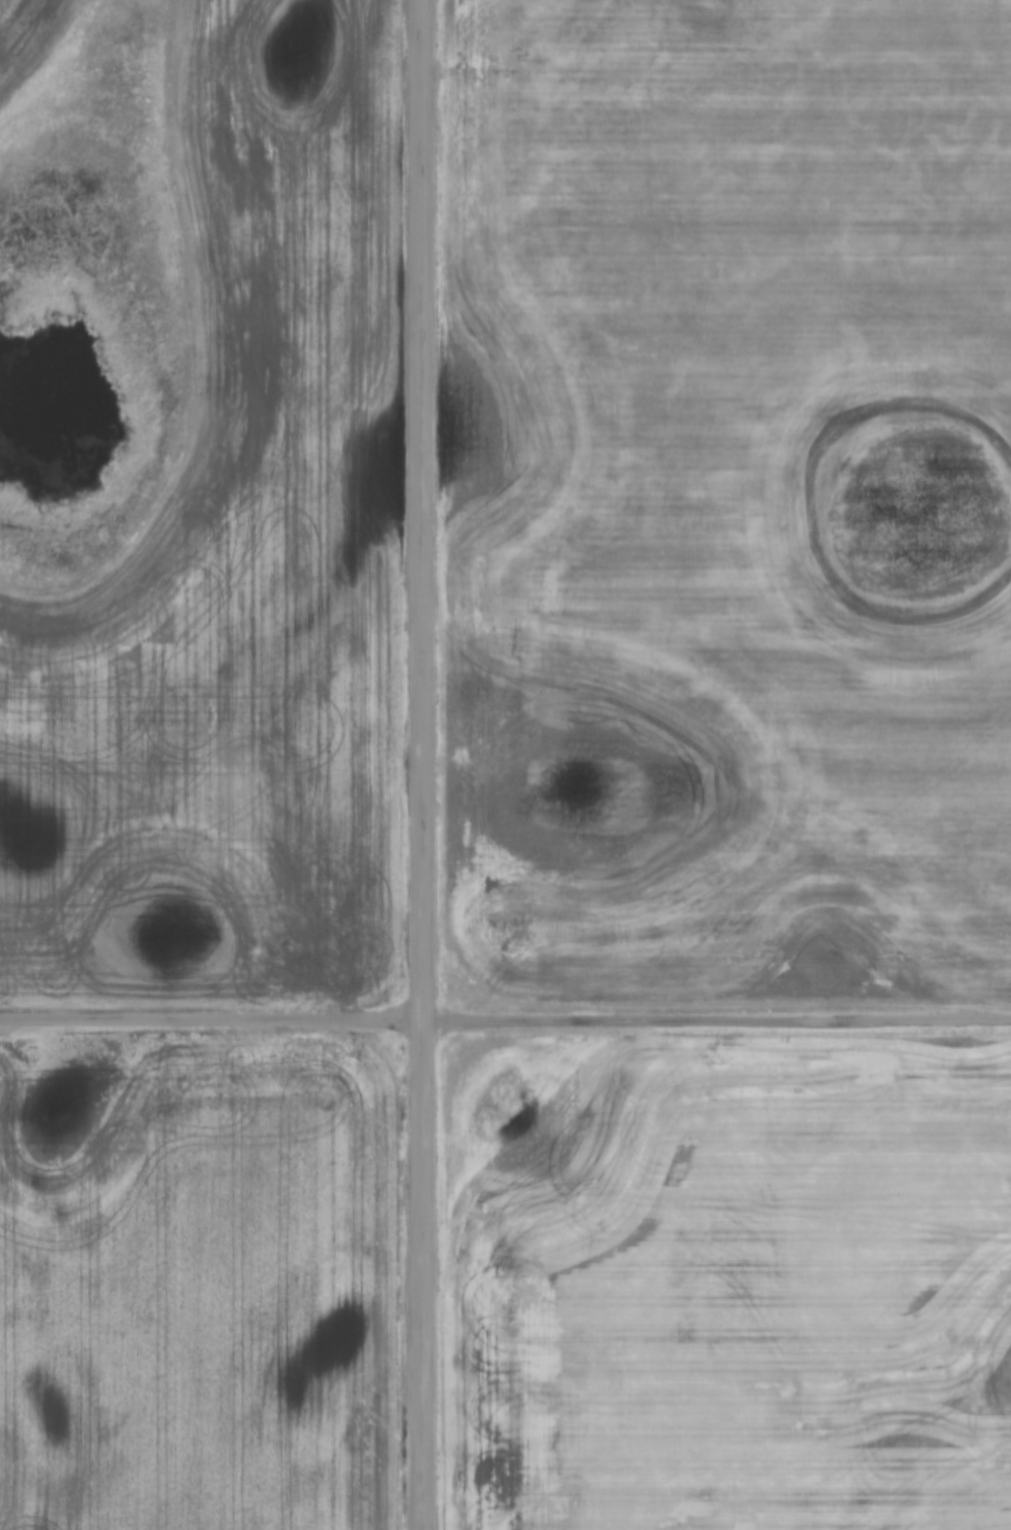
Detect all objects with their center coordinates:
road: (420, 765)
road: (505, 1017)

